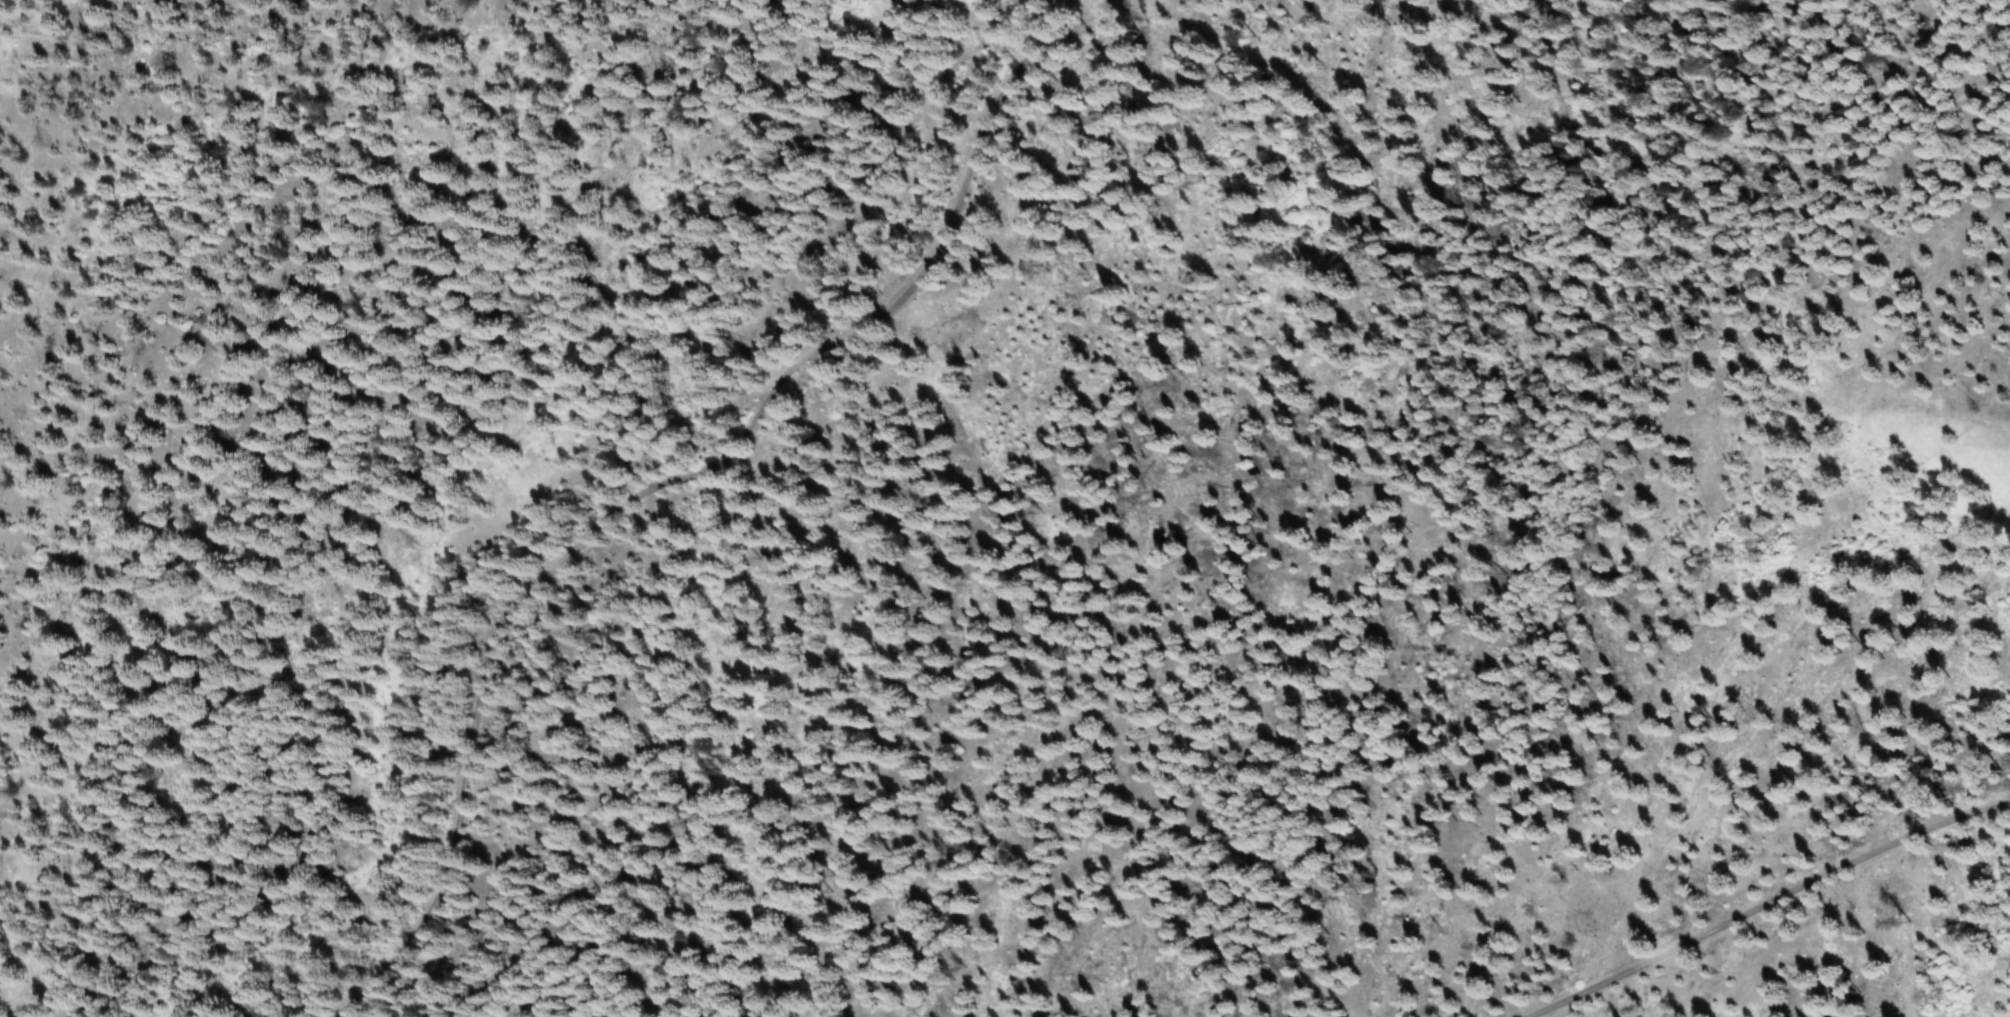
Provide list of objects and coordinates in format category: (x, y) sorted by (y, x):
road: (664, 483)
road: (1763, 902)

